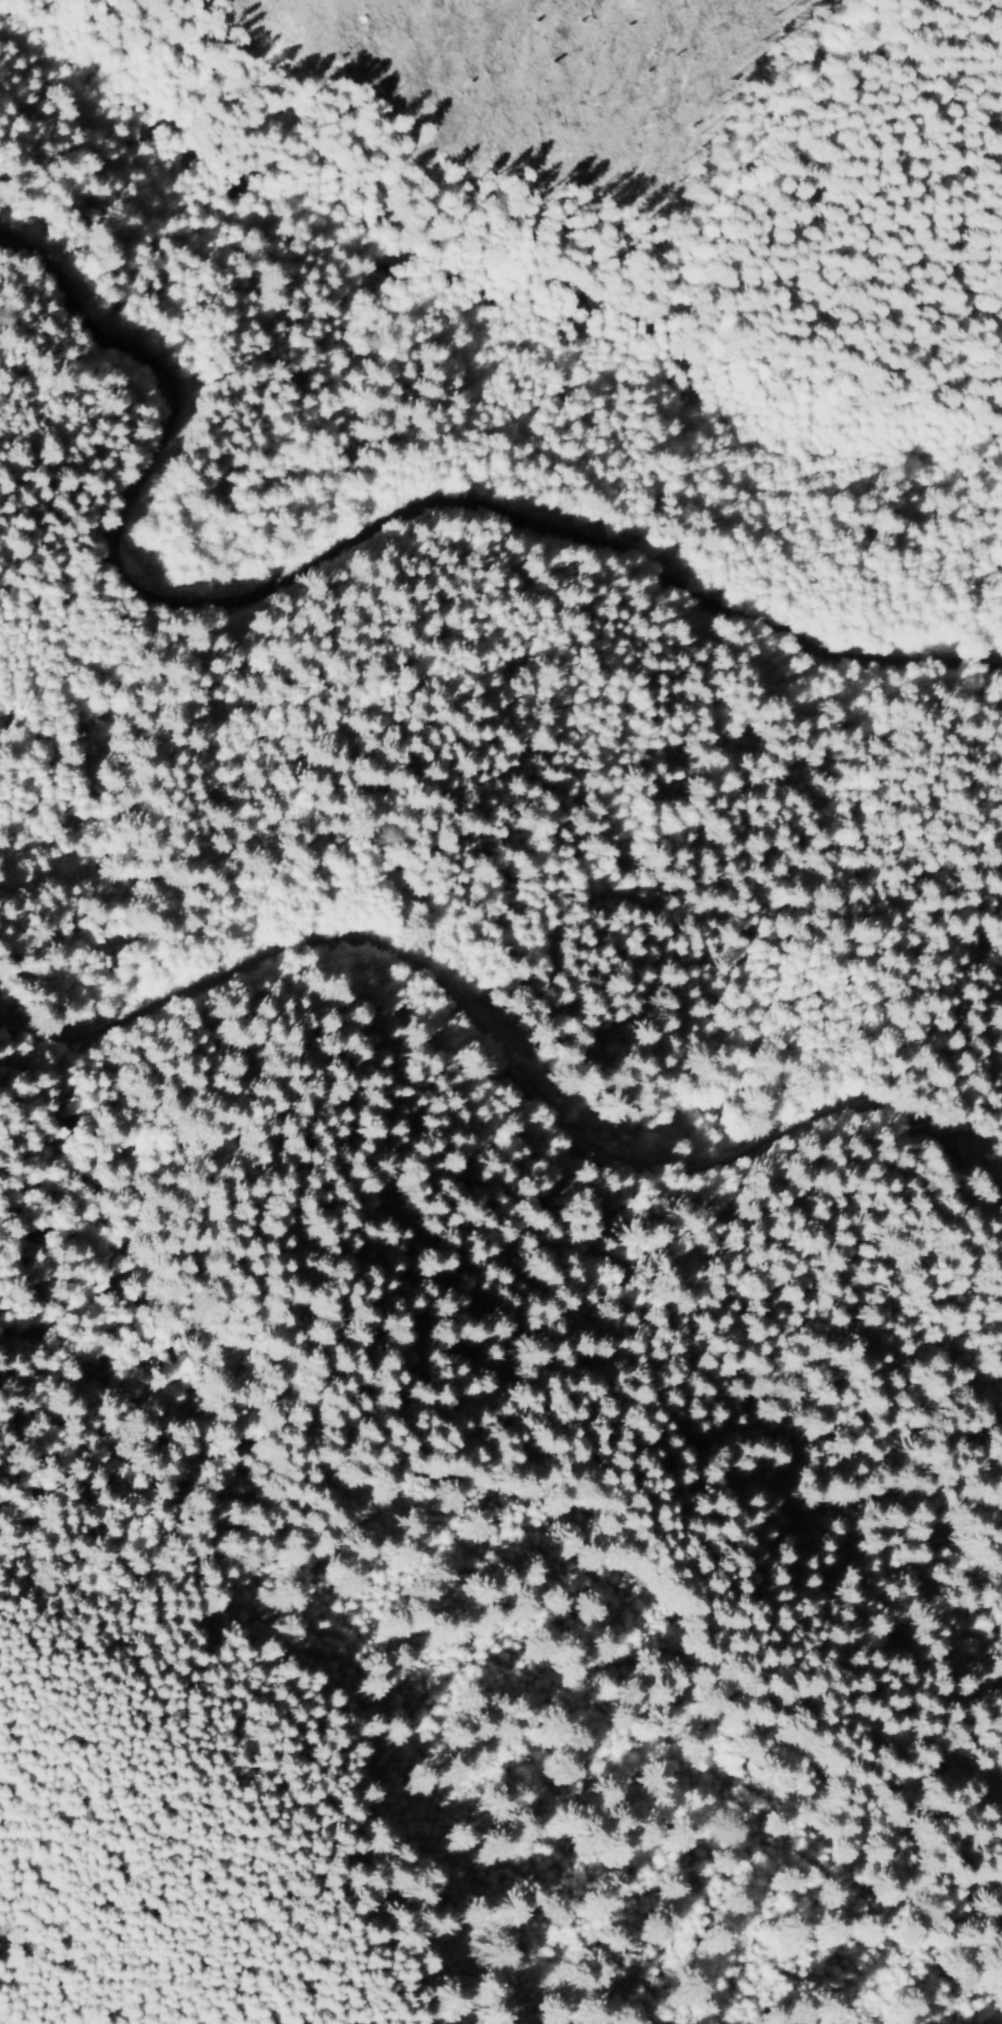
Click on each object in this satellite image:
road: (370, 519)
road: (508, 1048)

